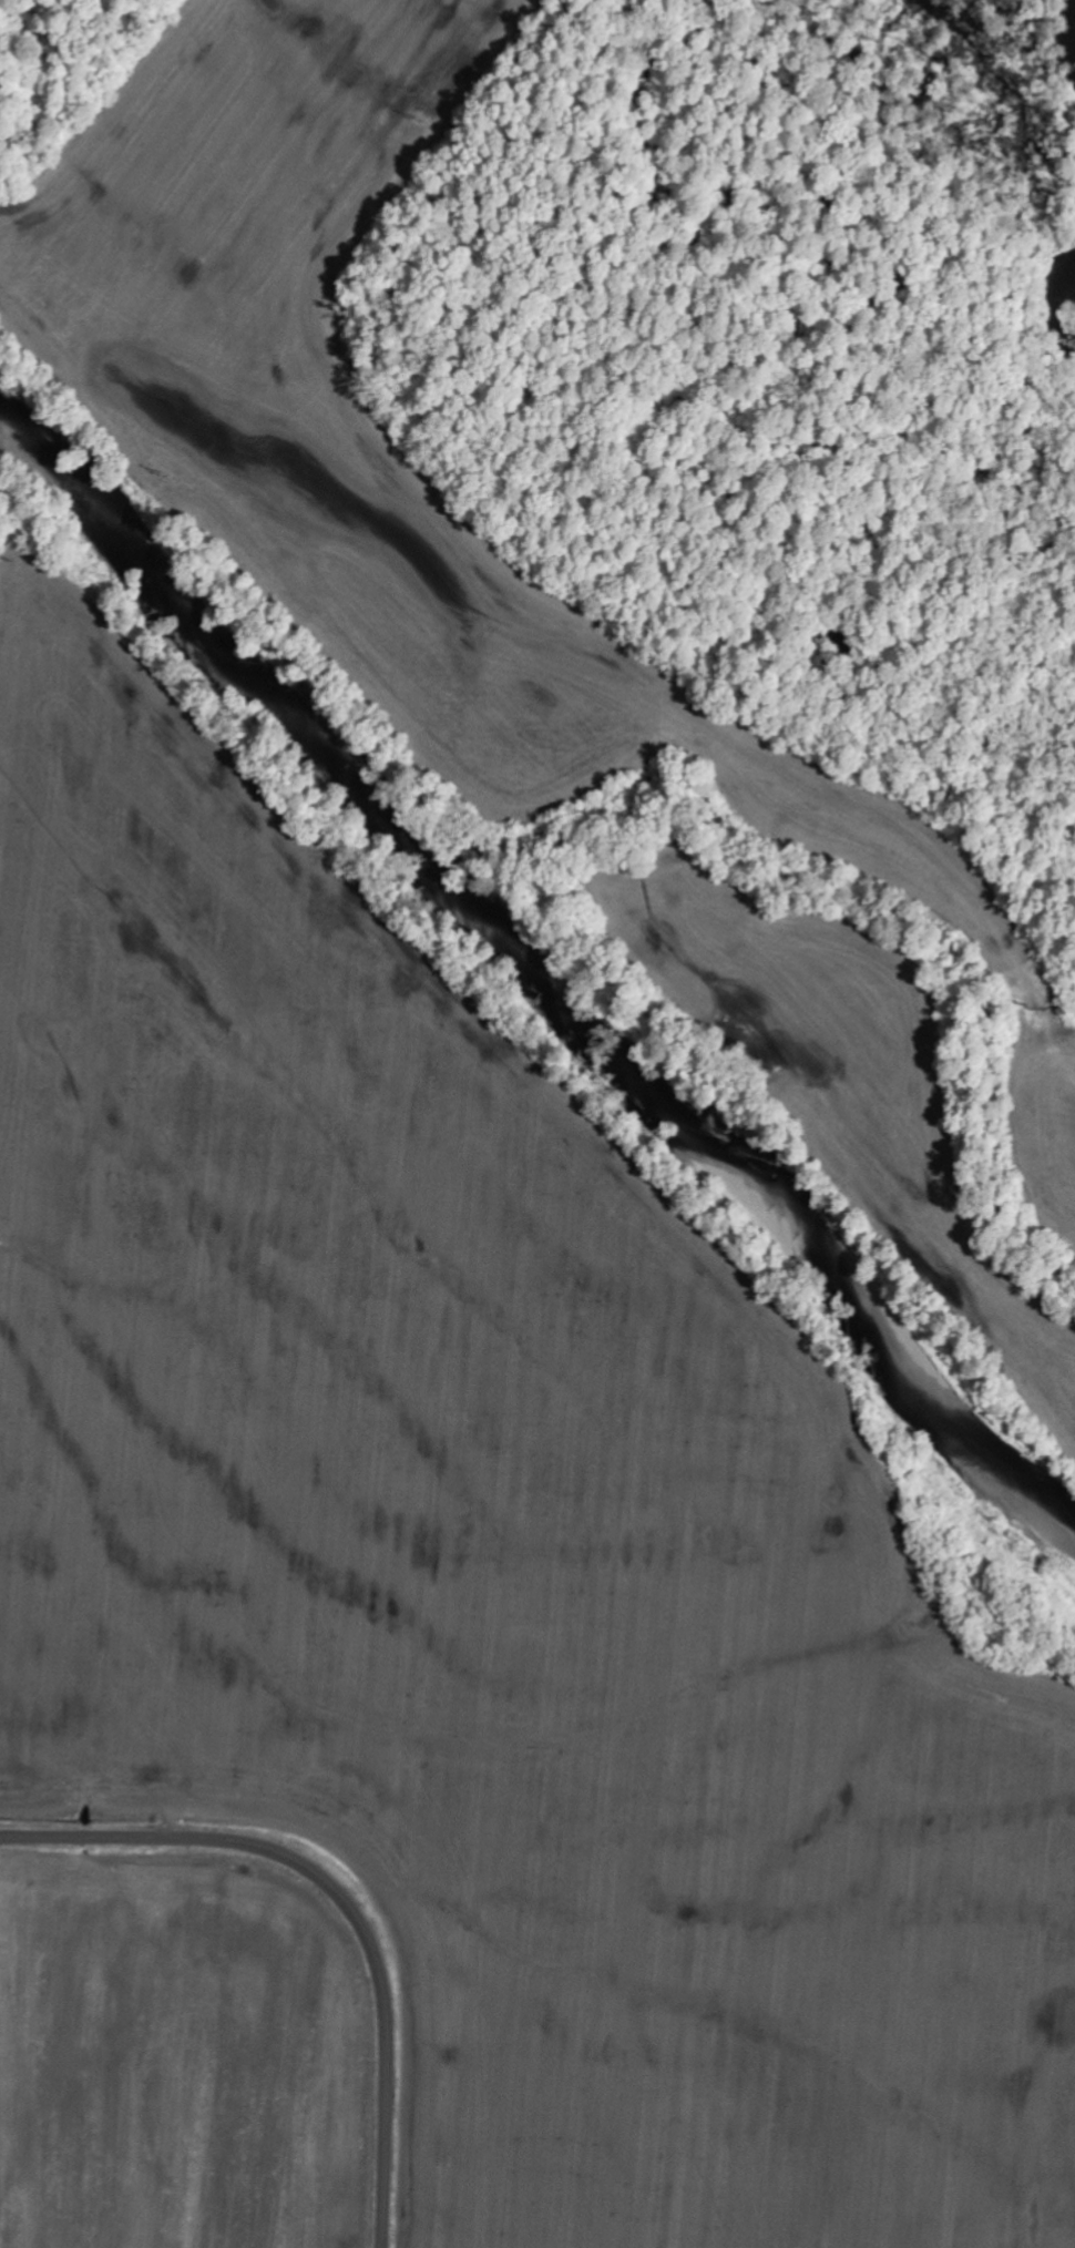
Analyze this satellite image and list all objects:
power tower: (434, 122)
power tower: (178, 477)
river: (535, 982)
road: (341, 1900)

